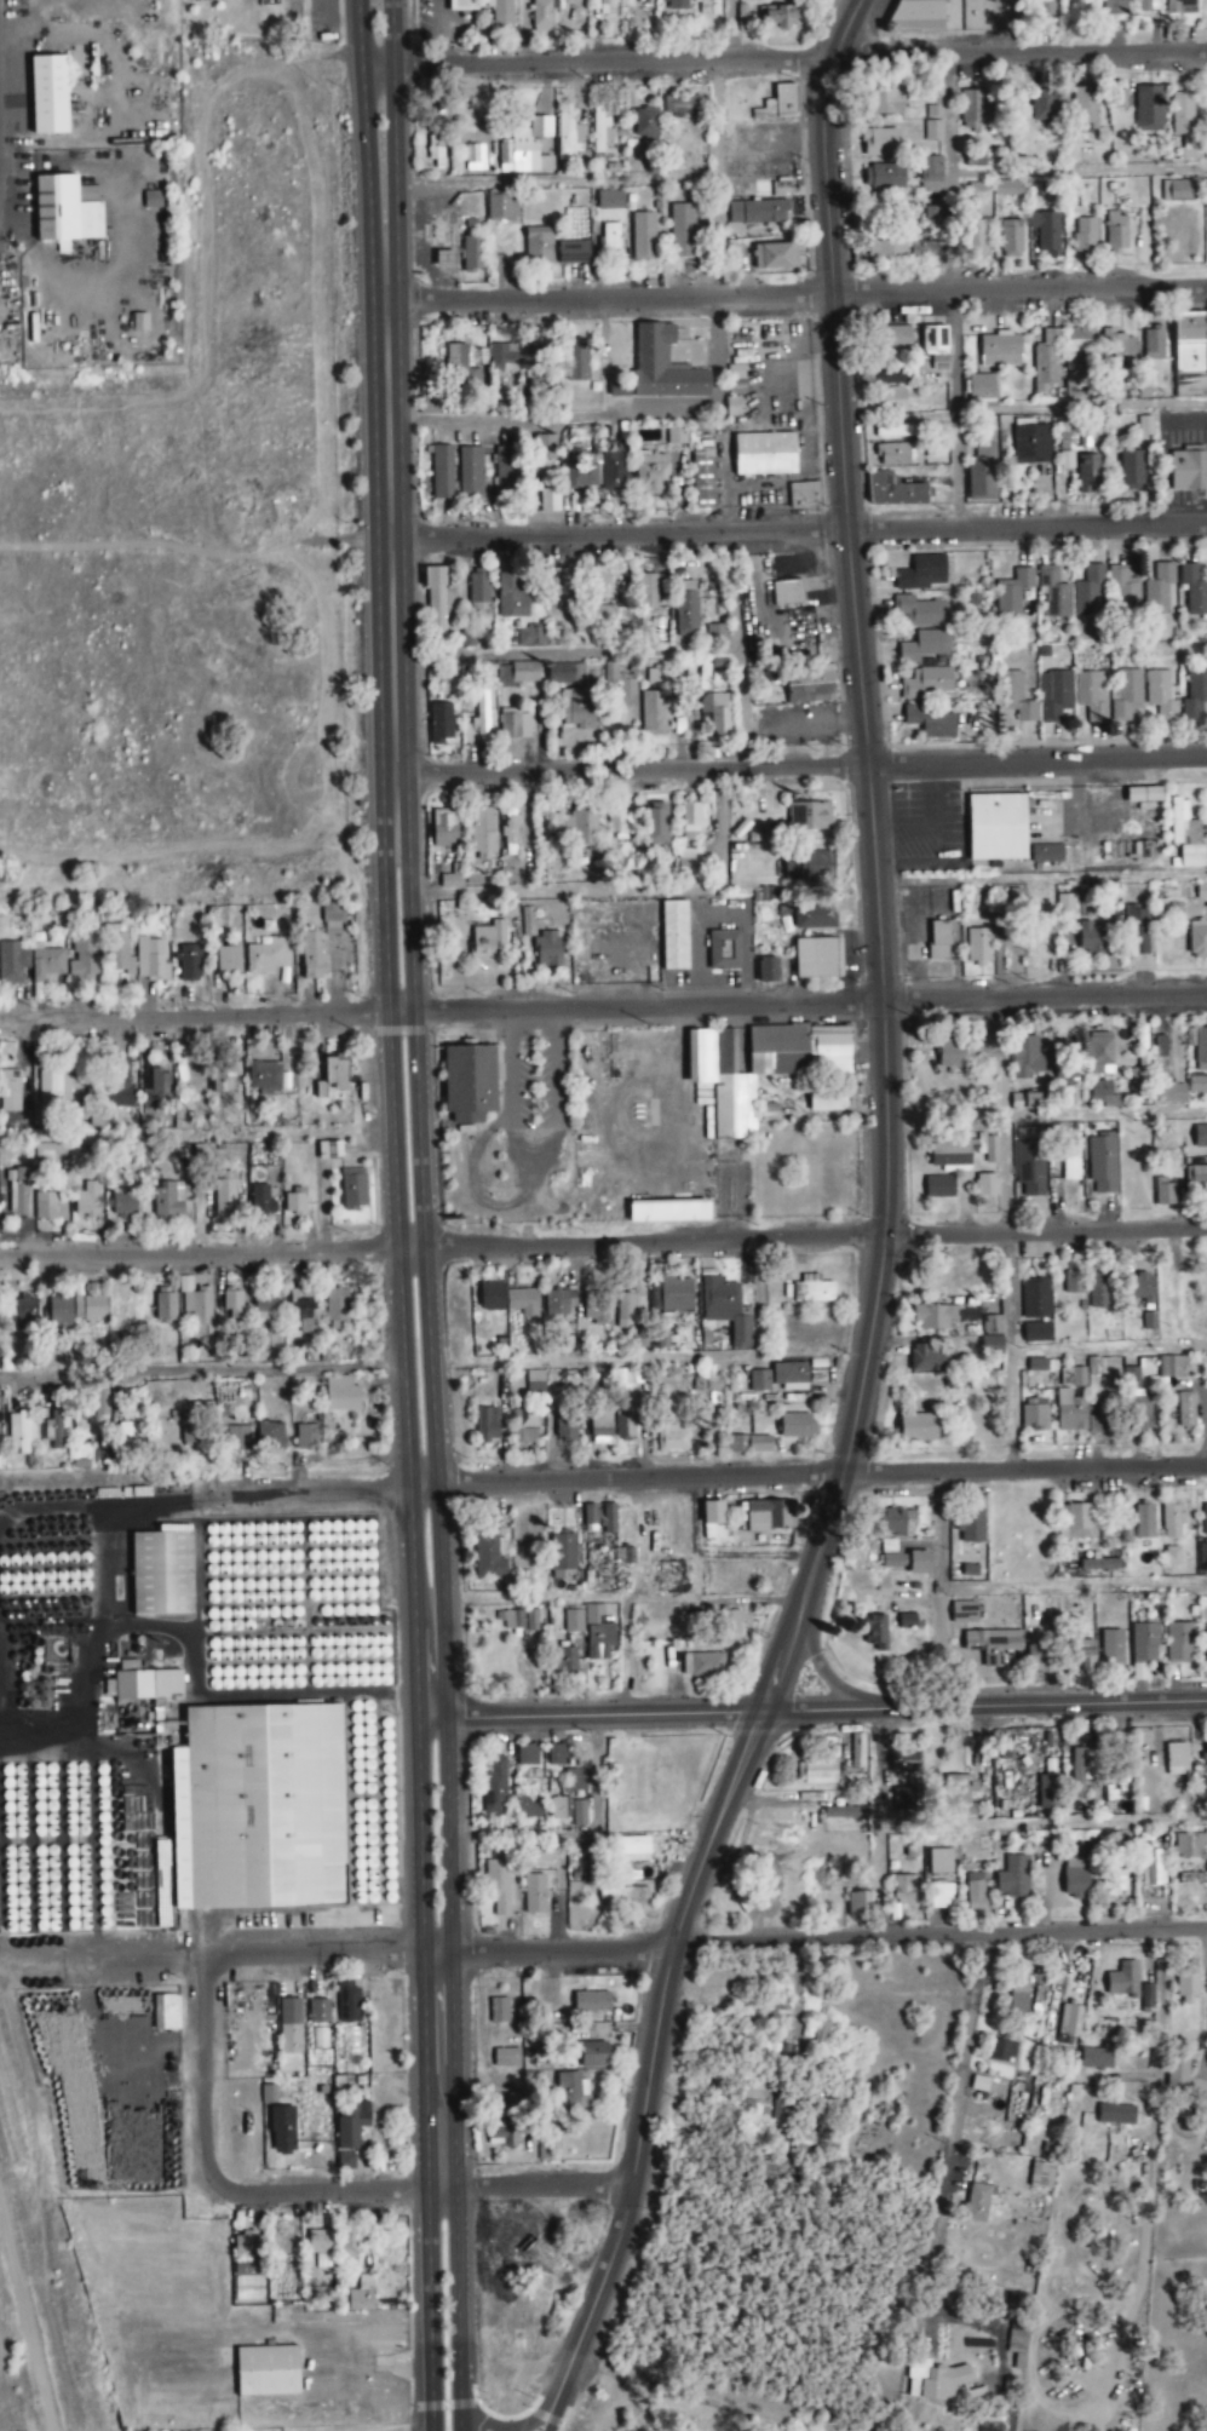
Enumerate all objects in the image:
building: (743, 0)
building: (462, 5)
building: (677, 5)
building: (1148, 6)
building: (607, 7)
building: (707, 7)
building: (1114, 7)
building: (1182, 7)
building: (1045, 8)
building: (500, 12)
building: (541, 16)
building: (955, 16)
building: (783, 18)
road: (730, 30)
road: (784, 62)
building: (48, 96)
building: (781, 102)
building: (889, 103)
building: (935, 104)
building: (679, 105)
building: (1042, 105)
building: (1149, 109)
building: (975, 110)
building: (1085, 111)
building: (1183, 120)
building: (644, 131)
building: (932, 132)
building: (570, 138)
building: (880, 143)
building: (527, 149)
road: (395, 151)
road: (366, 153)
building: (473, 159)
road: (1079, 171)
building: (930, 176)
building: (884, 178)
road: (717, 179)
road: (556, 180)
building: (1008, 189)
building: (1179, 192)
building: (86, 195)
building: (155, 200)
building: (609, 201)
building: (501, 207)
building: (758, 213)
building: (64, 214)
building: (932, 217)
building: (680, 231)
building: (1116, 232)
building: (1046, 234)
building: (1085, 236)
building: (643, 237)
building: (976, 240)
building: (1011, 240)
building: (609, 241)
building: (538, 248)
building: (904, 249)
building: (573, 253)
building: (472, 254)
building: (775, 258)
road: (953, 293)
road: (797, 297)
building: (139, 323)
building: (895, 339)
building: (935, 341)
building: (1082, 341)
building: (1154, 345)
building: (1120, 349)
building: (1000, 350)
building: (479, 352)
building: (458, 356)
building: (1190, 356)
building: (513, 360)
building: (1047, 361)
building: (577, 362)
building: (662, 367)
road: (835, 380)
building: (981, 389)
building: (892, 395)
road: (1080, 406)
road: (613, 416)
building: (903, 431)
building: (1030, 446)
building: (544, 448)
building: (764, 455)
building: (893, 455)
building: (1131, 471)
building: (470, 472)
building: (1188, 472)
building: (505, 473)
building: (615, 473)
building: (982, 473)
building: (651, 475)
building: (703, 475)
building: (1088, 475)
building: (581, 476)
building: (893, 493)
building: (804, 495)
building: (548, 501)
road: (800, 534)
building: (921, 574)
road: (393, 579)
building: (558, 585)
building: (1157, 590)
building: (651, 591)
building: (1192, 591)
building: (1123, 592)
building: (478, 593)
building: (1052, 593)
building: (1087, 593)
building: (787, 594)
building: (1012, 594)
building: (511, 598)
building: (1172, 599)
building: (438, 603)
building: (686, 609)
building: (919, 613)
building: (605, 616)
building: (717, 636)
building: (530, 637)
building: (924, 646)
road: (736, 650)
road: (567, 655)
building: (518, 674)
building: (565, 674)
building: (655, 676)
building: (927, 684)
building: (810, 686)
building: (626, 694)
building: (1127, 695)
building: (1053, 696)
building: (1092, 696)
building: (1161, 696)
building: (1195, 696)
building: (1017, 699)
building: (483, 709)
building: (579, 709)
building: (715, 713)
building: (653, 714)
building: (929, 723)
building: (439, 724)
building: (515, 726)
road: (1036, 765)
road: (632, 770)
building: (1143, 794)
building: (809, 816)
building: (690, 821)
building: (621, 823)
building: (1183, 823)
building: (656, 824)
building: (996, 827)
building: (584, 828)
building: (443, 829)
building: (483, 833)
building: (510, 835)
building: (1046, 854)
building: (1191, 856)
building: (686, 863)
building: (452, 878)
road: (1041, 879)
road: (623, 890)
building: (1201, 892)
building: (1064, 906)
building: (815, 916)
building: (332, 918)
building: (1136, 929)
building: (674, 936)
building: (1090, 938)
building: (1197, 939)
building: (488, 941)
building: (938, 941)
building: (978, 947)
building: (547, 949)
building: (117, 950)
building: (724, 950)
building: (268, 956)
building: (312, 956)
building: (84, 958)
building: (817, 958)
building: (150, 960)
building: (228, 960)
building: (12, 961)
building: (47, 962)
building: (189, 964)
building: (768, 970)
road: (603, 1007)
building: (1160, 1046)
building: (1100, 1053)
building: (952, 1054)
building: (1028, 1057)
building: (755, 1067)
building: (335, 1073)
building: (223, 1076)
building: (264, 1076)
building: (470, 1082)
building: (1196, 1084)
building: (57, 1086)
building: (115, 1086)
building: (10, 1091)
building: (156, 1092)
building: (1169, 1093)
building: (1102, 1094)
building: (826, 1100)
building: (1025, 1102)
road: (1105, 1114)
building: (1200, 1137)
building: (329, 1150)
building: (949, 1155)
building: (1103, 1163)
building: (1029, 1167)
road: (393, 1169)
road: (418, 1169)
building: (1195, 1176)
building: (987, 1185)
building: (939, 1186)
building: (17, 1190)
building: (354, 1192)
building: (1163, 1192)
building: (224, 1196)
building: (87, 1199)
building: (260, 1200)
building: (167, 1202)
building: (294, 1202)
building: (121, 1203)
building: (45, 1206)
building: (668, 1211)
road: (1006, 1232)
road: (603, 1245)
building: (1074, 1283)
building: (1142, 1287)
building: (812, 1291)
building: (1099, 1291)
building: (674, 1295)
building: (507, 1299)
building: (1035, 1300)
building: (301, 1301)
building: (559, 1304)
building: (232, 1306)
building: (165, 1308)
building: (196, 1308)
building: (594, 1309)
building: (88, 1310)
building: (337, 1310)
building: (726, 1310)
building: (58, 1311)
building: (626, 1311)
building: (22, 1317)
building: (937, 1317)
building: (306, 1326)
building: (992, 1326)
building: (1036, 1333)
building: (992, 1345)
road: (1108, 1347)
building: (929, 1357)
building: (48, 1358)
road: (654, 1361)
road: (183, 1363)
building: (1036, 1366)
building: (789, 1377)
building: (1073, 1378)
building: (534, 1381)
building: (758, 1381)
building: (341, 1395)
building: (99, 1403)
building: (1136, 1403)
building: (1070, 1412)
building: (1099, 1412)
building: (1185, 1412)
building: (1034, 1414)
building: (487, 1424)
building: (623, 1426)
building: (795, 1426)
building: (523, 1427)
building: (599, 1427)
building: (918, 1427)
building: (567, 1429)
building: (56, 1431)
building: (192, 1431)
building: (19, 1432)
building: (270, 1433)
building: (126, 1437)
building: (306, 1437)
building: (237, 1438)
building: (672, 1438)
building: (749, 1444)
road: (709, 1477)
road: (105, 1499)
building: (590, 1515)
building: (770, 1516)
building: (609, 1518)
building: (1205, 1519)
building: (713, 1521)
building: (1172, 1521)
building: (896, 1522)
building: (1076, 1522)
building: (1143, 1522)
building: (972, 1527)
road: (438, 1547)
road: (410, 1548)
building: (563, 1552)
building: (623, 1556)
building: (892, 1556)
building: (1172, 1556)
building: (488, 1557)
building: (1202, 1557)
building: (919, 1563)
building: (1100, 1564)
building: (161, 1574)
road: (1074, 1586)
road: (939, 1590)
road: (620, 1597)
building: (964, 1613)
road: (794, 1614)
building: (510, 1620)
building: (530, 1621)
building: (573, 1622)
building: (729, 1622)
building: (907, 1622)
building: (875, 1631)
building: (597, 1634)
building: (1179, 1642)
building: (1144, 1643)
building: (993, 1645)
building: (1206, 1645)
building: (1111, 1646)
road: (814, 1655)
building: (1040, 1655)
road: (623, 1656)
building: (1084, 1656)
building: (564, 1660)
road: (429, 1661)
building: (702, 1665)
building: (148, 1685)
road: (1038, 1706)
road: (814, 1711)
road: (594, 1716)
building: (857, 1751)
building: (1203, 1753)
building: (527, 1755)
building: (557, 1755)
building: (1176, 1759)
building: (1080, 1771)
building: (816, 1772)
building: (575, 1781)
building: (494, 1787)
building: (1201, 1789)
building: (1046, 1793)
building: (960, 1798)
building: (529, 1808)
building: (258, 1809)
building: (559, 1809)
building: (579, 1814)
building: (845, 1814)
road: (1008, 1822)
road: (447, 1834)
road: (419, 1835)
road: (580, 1835)
building: (1188, 1846)
building: (632, 1850)
building: (539, 1855)
building: (939, 1862)
building: (1151, 1868)
building: (1012, 1878)
building: (1075, 1878)
building: (1116, 1883)
building: (498, 1887)
building: (903, 1890)
building: (534, 1895)
building: (975, 1895)
building: (942, 1897)
building: (857, 1906)
road: (941, 1938)
road: (357, 1954)
building: (1122, 1979)
building: (1186, 1985)
building: (1018, 1993)
building: (1146, 1995)
building: (347, 2002)
building: (591, 2002)
building: (113, 2011)
building: (498, 2011)
building: (318, 2012)
building: (166, 2013)
building: (1069, 2025)
building: (289, 2027)
building: (57, 2051)
building: (597, 2051)
building: (1000, 2051)
building: (506, 2058)
building: (1097, 2058)
road: (1201, 2064)
building: (1179, 2069)
road: (438, 2073)
road: (207, 2085)
building: (979, 2085)
building: (571, 2090)
building: (269, 2096)
building: (752, 2100)
building: (515, 2104)
road: (956, 2104)
building: (1116, 2115)
building: (351, 2126)
building: (282, 2130)
building: (501, 2134)
building: (345, 2161)
building: (1041, 2176)
road: (344, 2194)
building: (977, 2203)
building: (347, 2241)
building: (320, 2242)
building: (248, 2246)
building: (283, 2257)
railway: (39, 2286)
building: (361, 2297)
building: (1016, 2303)
road: (429, 2309)
road: (456, 2309)
building: (266, 2372)
building: (935, 2381)
road: (547, 2414)

